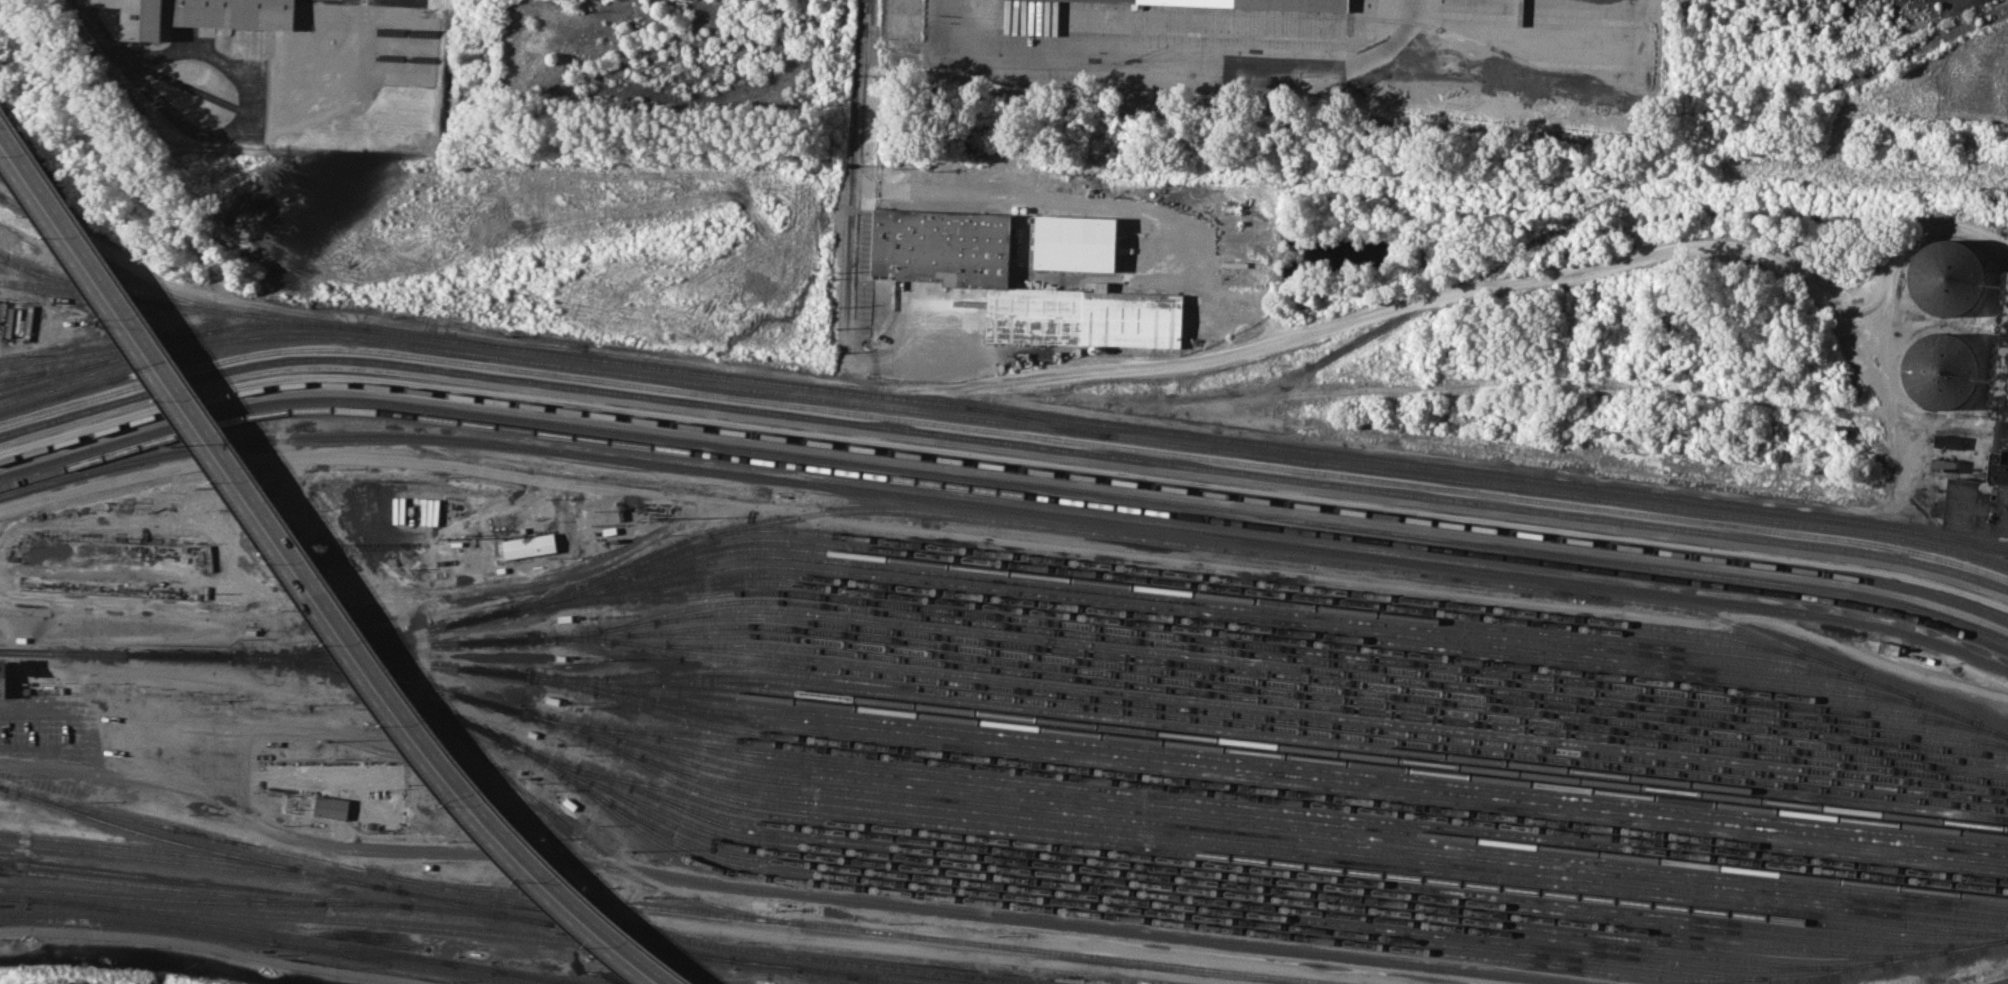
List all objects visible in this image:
building: (1238, 5)
building: (202, 15)
road: (1392, 25)
wind turbine: (329, 39)
road: (1292, 60)
railway: (81, 128)
railway: (1739, 129)
railway: (104, 140)
road: (853, 193)
road: (1002, 196)
road: (1908, 242)
building: (1074, 243)
building: (945, 247)
railway: (122, 267)
building: (1944, 277)
railway: (81, 284)
railway: (181, 305)
road: (1361, 313)
building: (1085, 318)
railway: (106, 359)
building: (2001, 363)
building: (1939, 370)
railway: (51, 371)
railway: (20, 376)
railway: (1004, 411)
railway: (1001, 423)
railway: (1056, 423)
railway: (1002, 432)
railway: (1002, 443)
railway: (1002, 458)
railway: (1003, 466)
railway: (1003, 481)
railway: (1003, 491)
building: (1977, 491)
railway: (1006, 508)
road: (1007, 541)
building: (529, 544)
railway: (1230, 549)
road: (308, 577)
railway: (1193, 584)
railway: (1281, 584)
road: (379, 595)
railway: (1185, 600)
railway: (1272, 601)
railway: (1281, 621)
railway: (1216, 623)
railway: (637, 625)
railway: (594, 636)
railway: (530, 638)
railway: (618, 640)
railway: (346, 645)
railway: (387, 645)
railway: (1338, 645)
railway: (1279, 647)
railway: (123, 652)
railway: (351, 658)
railway: (1304, 660)
railway: (344, 671)
railway: (1339, 672)
railway: (375, 673)
railway: (583, 678)
railway: (1340, 681)
building: (5, 684)
railway: (1322, 688)
railway: (1322, 697)
railway: (1346, 708)
railway: (1346, 717)
railway: (1310, 722)
railway: (1310, 731)
railway: (1310, 740)
railway: (510, 743)
railway: (1336, 752)
railway: (1231, 759)
railway: (1318, 759)
railway: (1279, 773)
railway: (1, 786)
railway: (1328, 788)
railway: (1302, 792)
railway: (1229, 794)
building: (330, 807)
railway: (1309, 811)
railway: (1337, 824)
railway: (1273, 825)
railway: (570, 828)
railway: (205, 835)
railway: (1316, 839)
railway: (1270, 843)
railway: (149, 848)
railway: (1326, 858)
railway: (189, 863)
railway: (1219, 865)
railway: (1298, 865)
railway: (795, 880)
railway: (362, 881)
railway: (1285, 881)
railway: (162, 886)
railway: (1253, 887)
railway: (279, 891)
railway: (1210, 891)
road: (789, 892)
railway: (17, 898)
railway: (1196, 898)
railway: (205, 900)
railway: (476, 900)
railway: (1213, 909)
railway: (1171, 913)
railway: (124, 923)
railway: (418, 925)
railway: (501, 928)
railway: (861, 930)
railway: (244, 932)
railway: (267, 932)
railway: (714, 943)
railway: (365, 952)
railway: (391, 961)
railway: (1522, 962)
railway: (845, 976)
railway: (877, 976)
railway: (532, 977)
railway: (546, 977)

